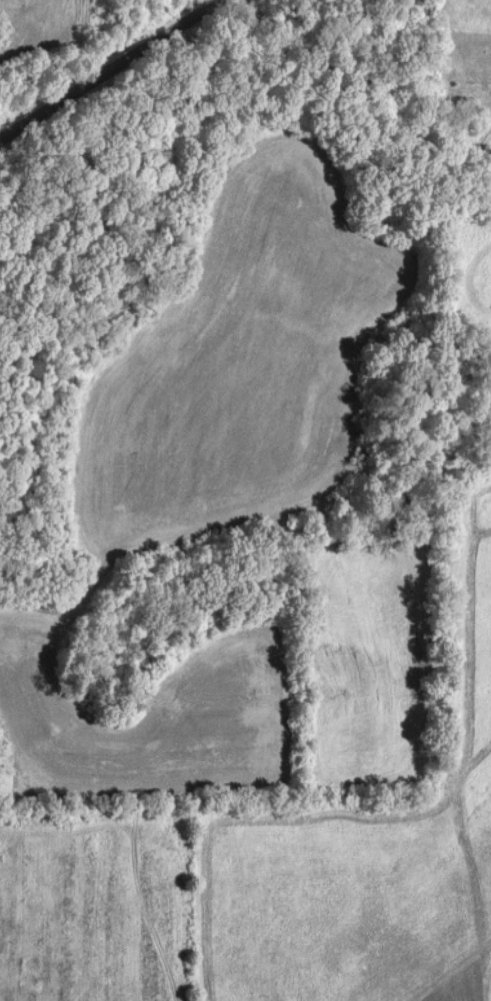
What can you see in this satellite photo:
road: (114, 74)

